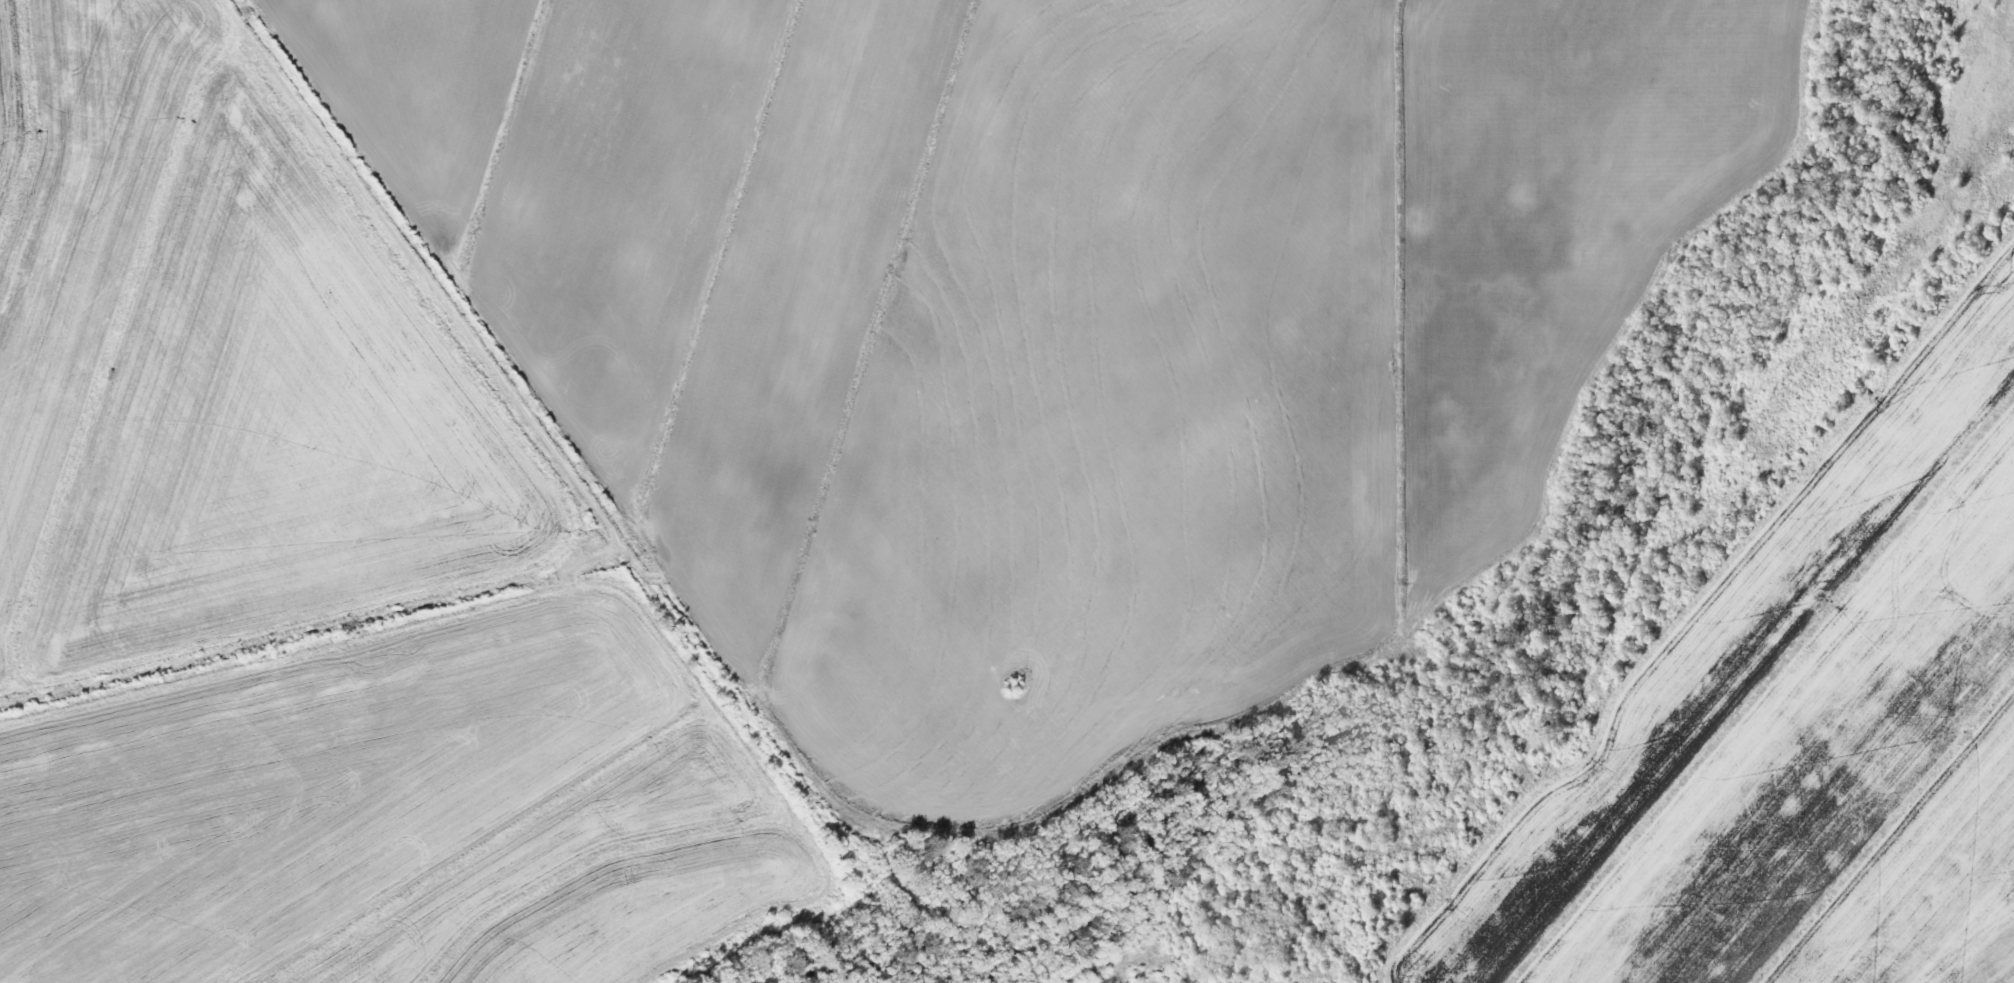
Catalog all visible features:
road: (516, 404)

